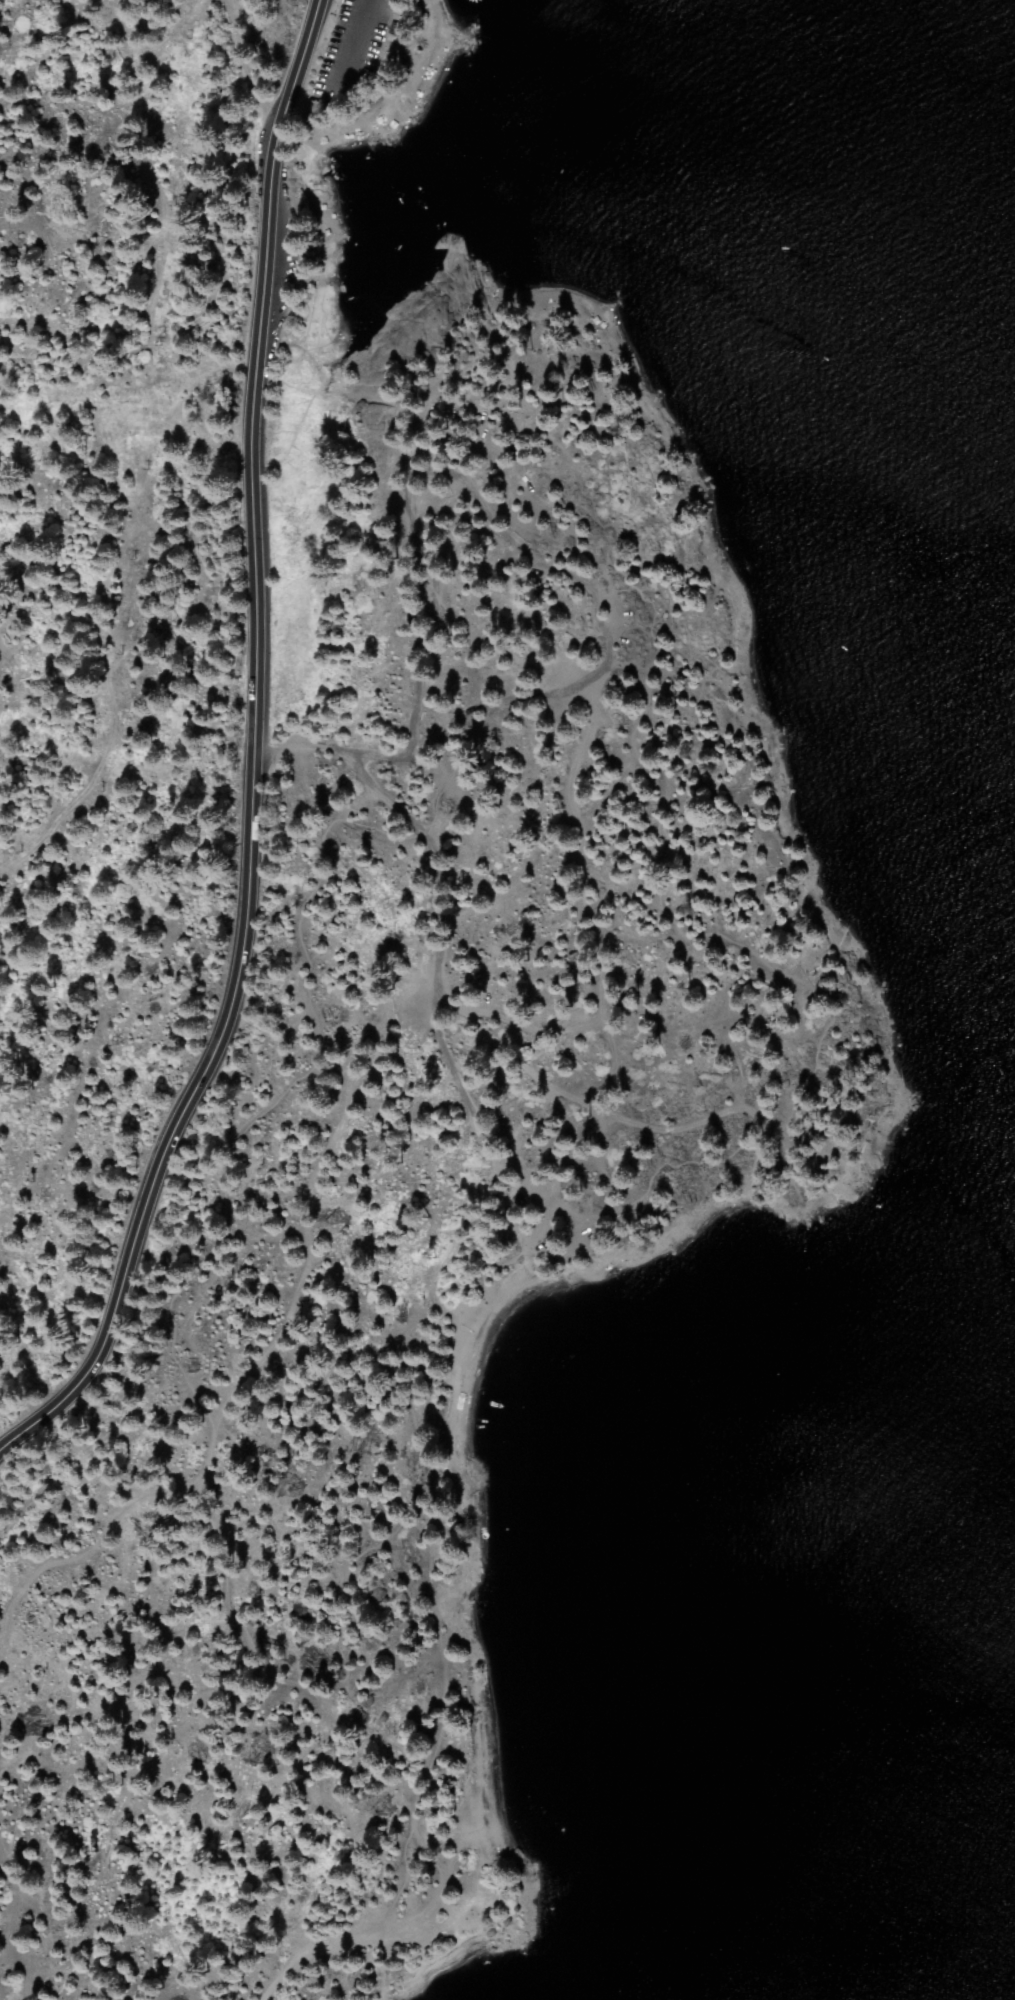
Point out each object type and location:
road: (347, 40)
road: (240, 48)
road: (464, 716)
road: (249, 752)
road: (349, 763)
road: (433, 813)
road: (580, 880)
road: (786, 1105)
road: (330, 1942)

